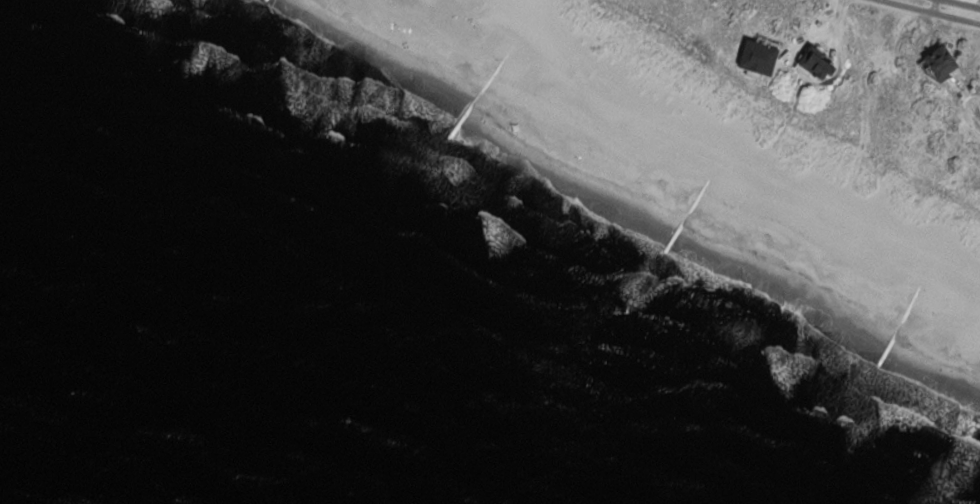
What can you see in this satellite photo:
road: (964, 3)
road: (932, 12)
building: (759, 57)
building: (941, 61)
building: (818, 62)

